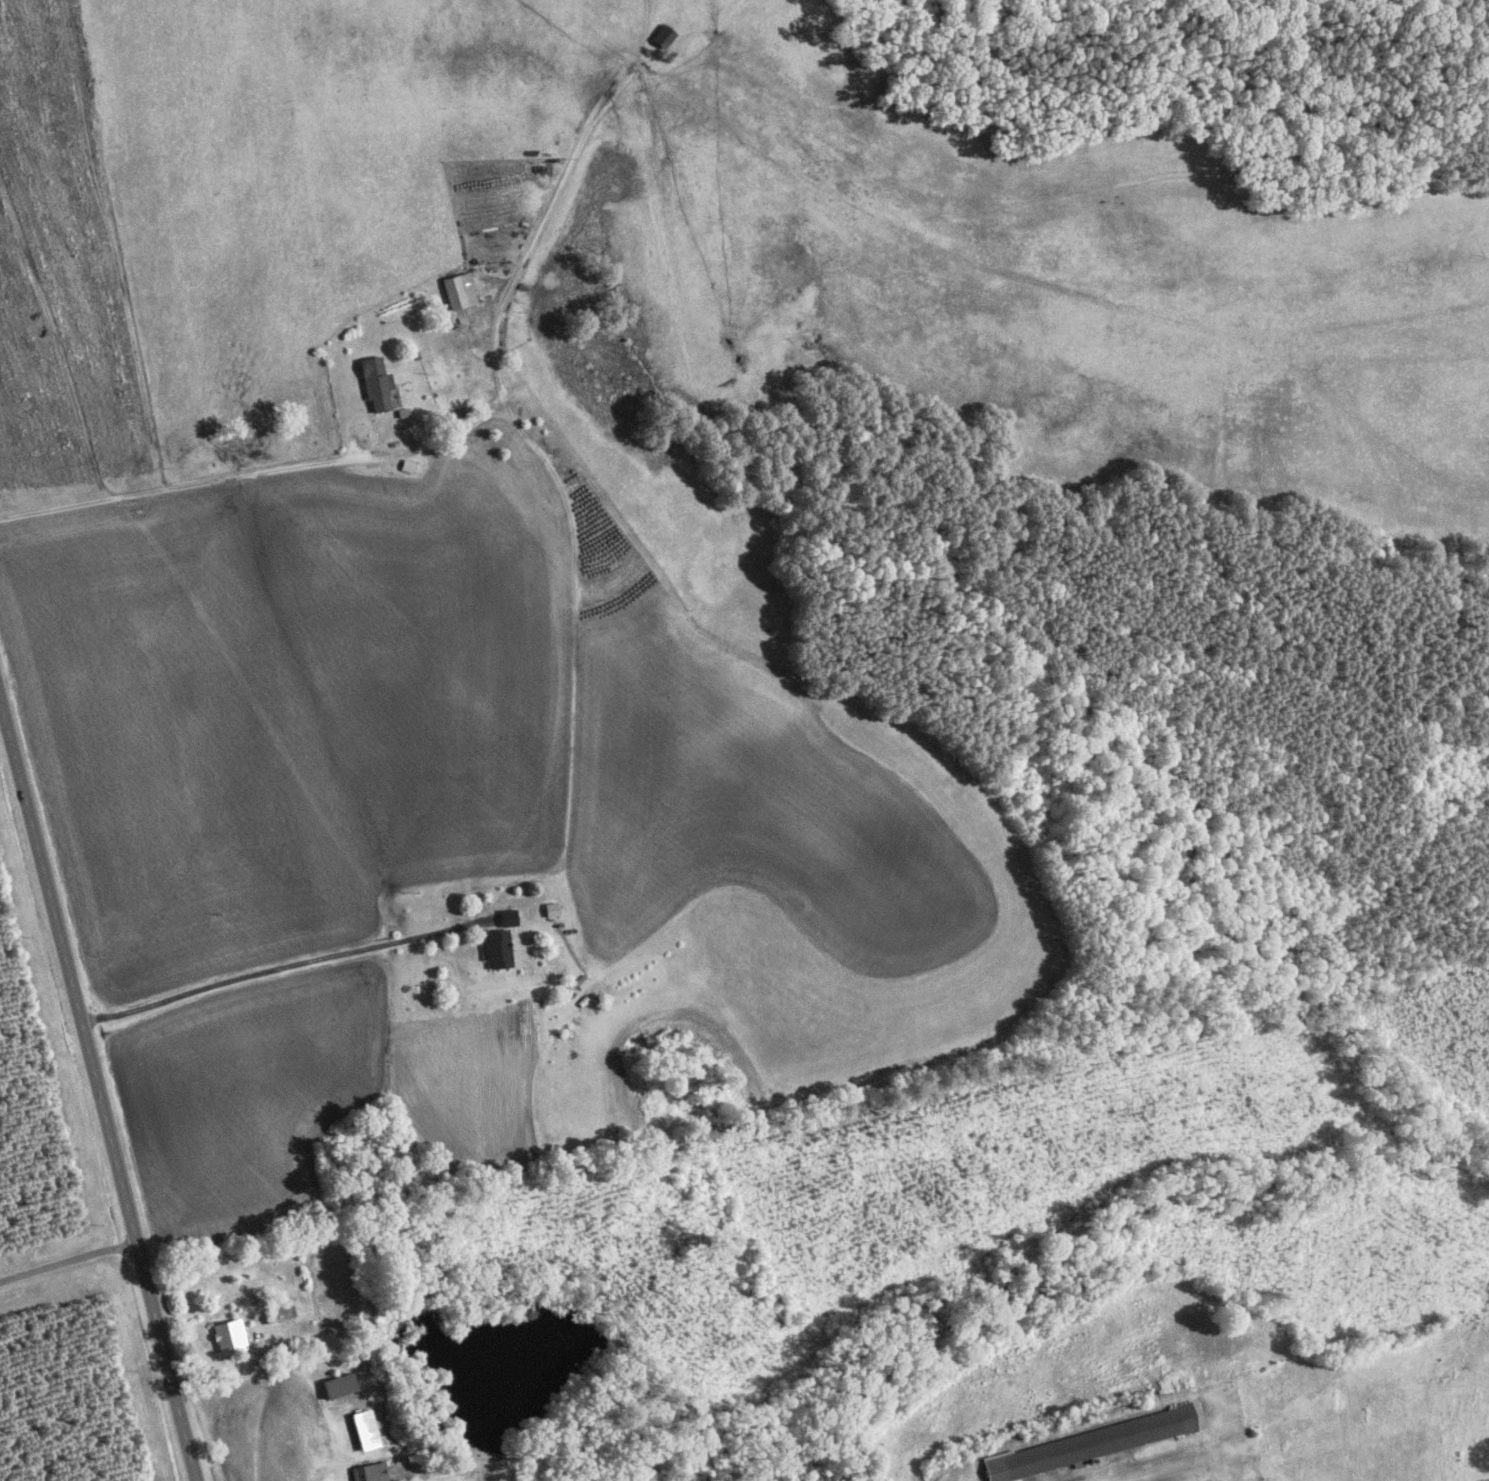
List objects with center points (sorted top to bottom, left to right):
building: (662, 38)
road: (499, 289)
building: (455, 293)
building: (373, 385)
road: (174, 490)
building: (494, 951)
road: (97, 1090)
building: (275, 1314)
building: (225, 1338)
building: (333, 1387)
building: (361, 1432)
building: (1082, 1447)
building: (366, 1473)
building: (474, 1477)

